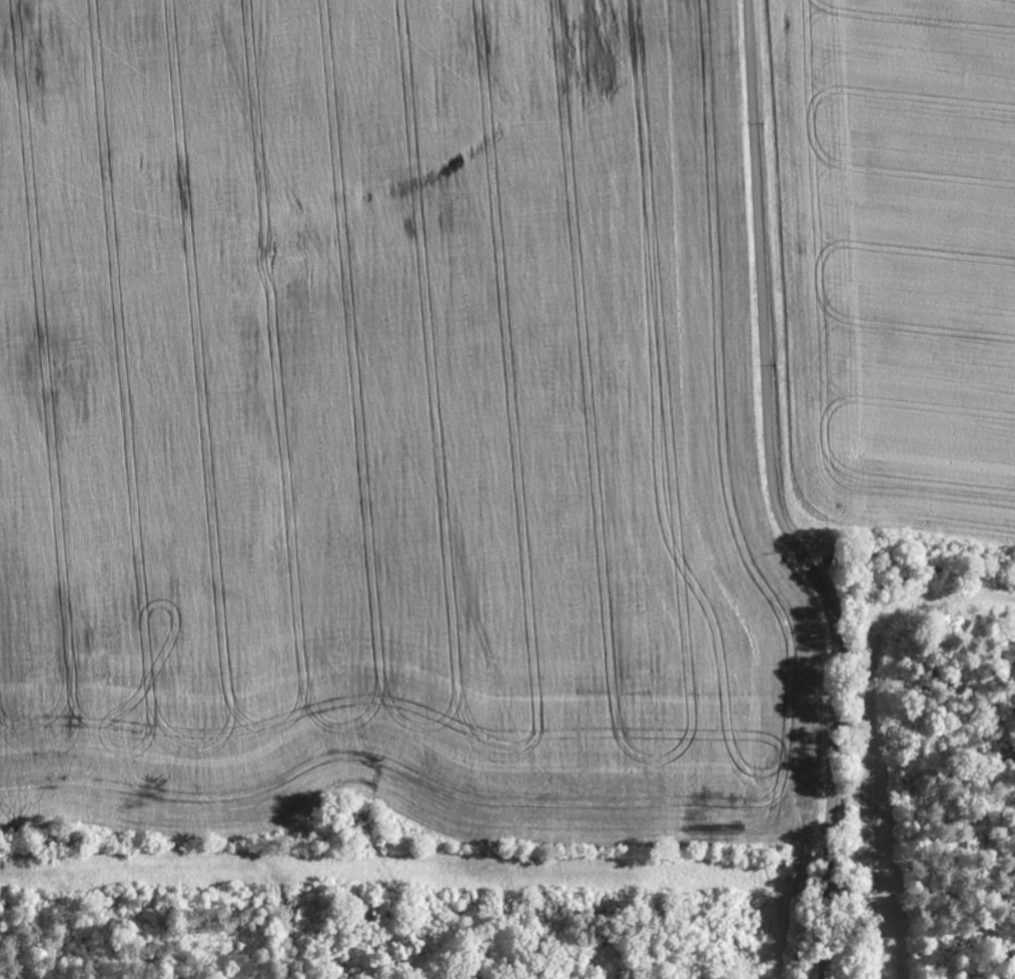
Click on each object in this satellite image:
road: (769, 403)
road: (831, 886)

